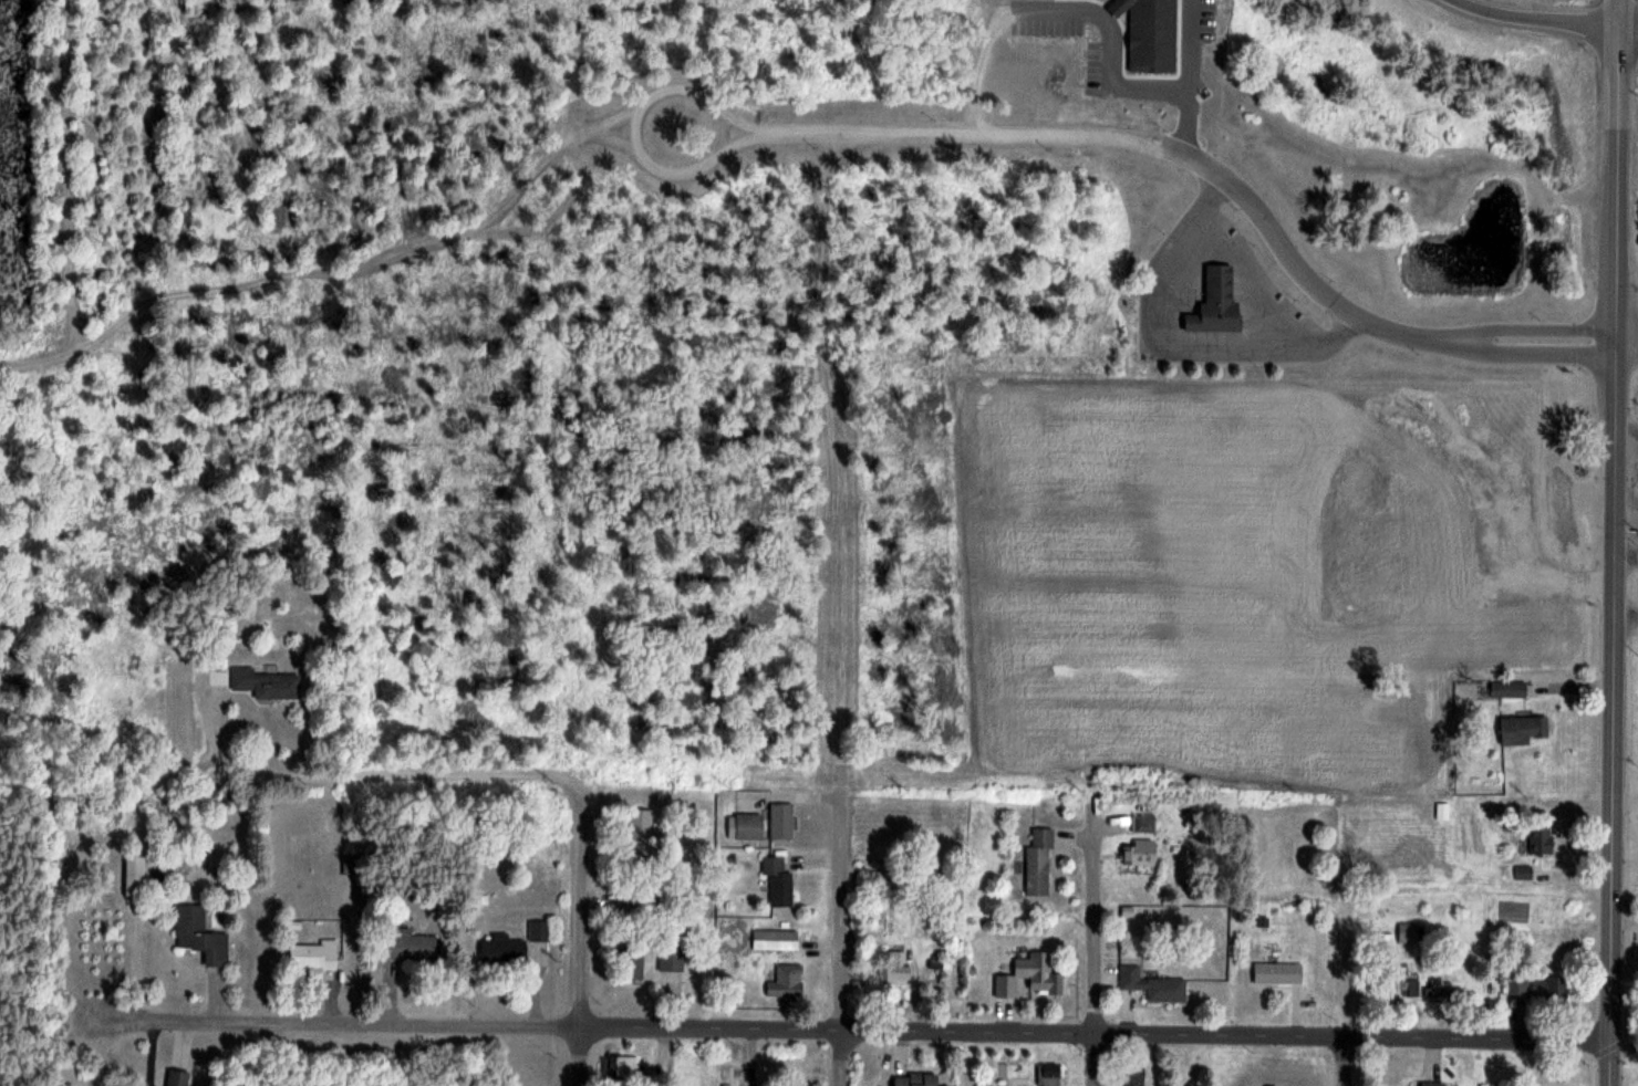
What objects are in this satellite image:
road: (1537, 17)
road: (1629, 23)
road: (715, 107)
road: (618, 118)
road: (737, 122)
road: (1115, 135)
road: (615, 140)
road: (735, 143)
building: (1214, 302)
road: (1505, 328)
road: (1626, 328)
road: (1504, 353)
road: (1626, 353)
road: (1614, 390)
road: (1626, 436)
road: (1626, 561)
building: (265, 683)
building: (1509, 689)
road: (200, 722)
building: (1520, 731)
road: (393, 773)
building: (780, 821)
building: (639, 823)
building: (1144, 823)
building: (747, 825)
building: (1541, 839)
building: (1139, 853)
building: (1038, 863)
building: (135, 877)
building: (777, 880)
building: (640, 891)
road: (839, 923)
building: (538, 930)
road: (580, 932)
road: (1611, 933)
building: (198, 934)
building: (775, 939)
road: (1092, 944)
building: (406, 946)
building: (500, 949)
building: (312, 954)
building: (670, 959)
building: (630, 960)
building: (893, 967)
building: (1277, 973)
building: (1031, 977)
building: (786, 982)
building: (1152, 985)
building: (1516, 985)
building: (1412, 988)
building: (1548, 990)
building: (1444, 991)
road: (857, 1030)
road: (1345, 1061)
building: (619, 1068)
building: (1049, 1075)
building: (1131, 1076)
building: (176, 1077)
building: (914, 1078)
building: (1431, 1083)

